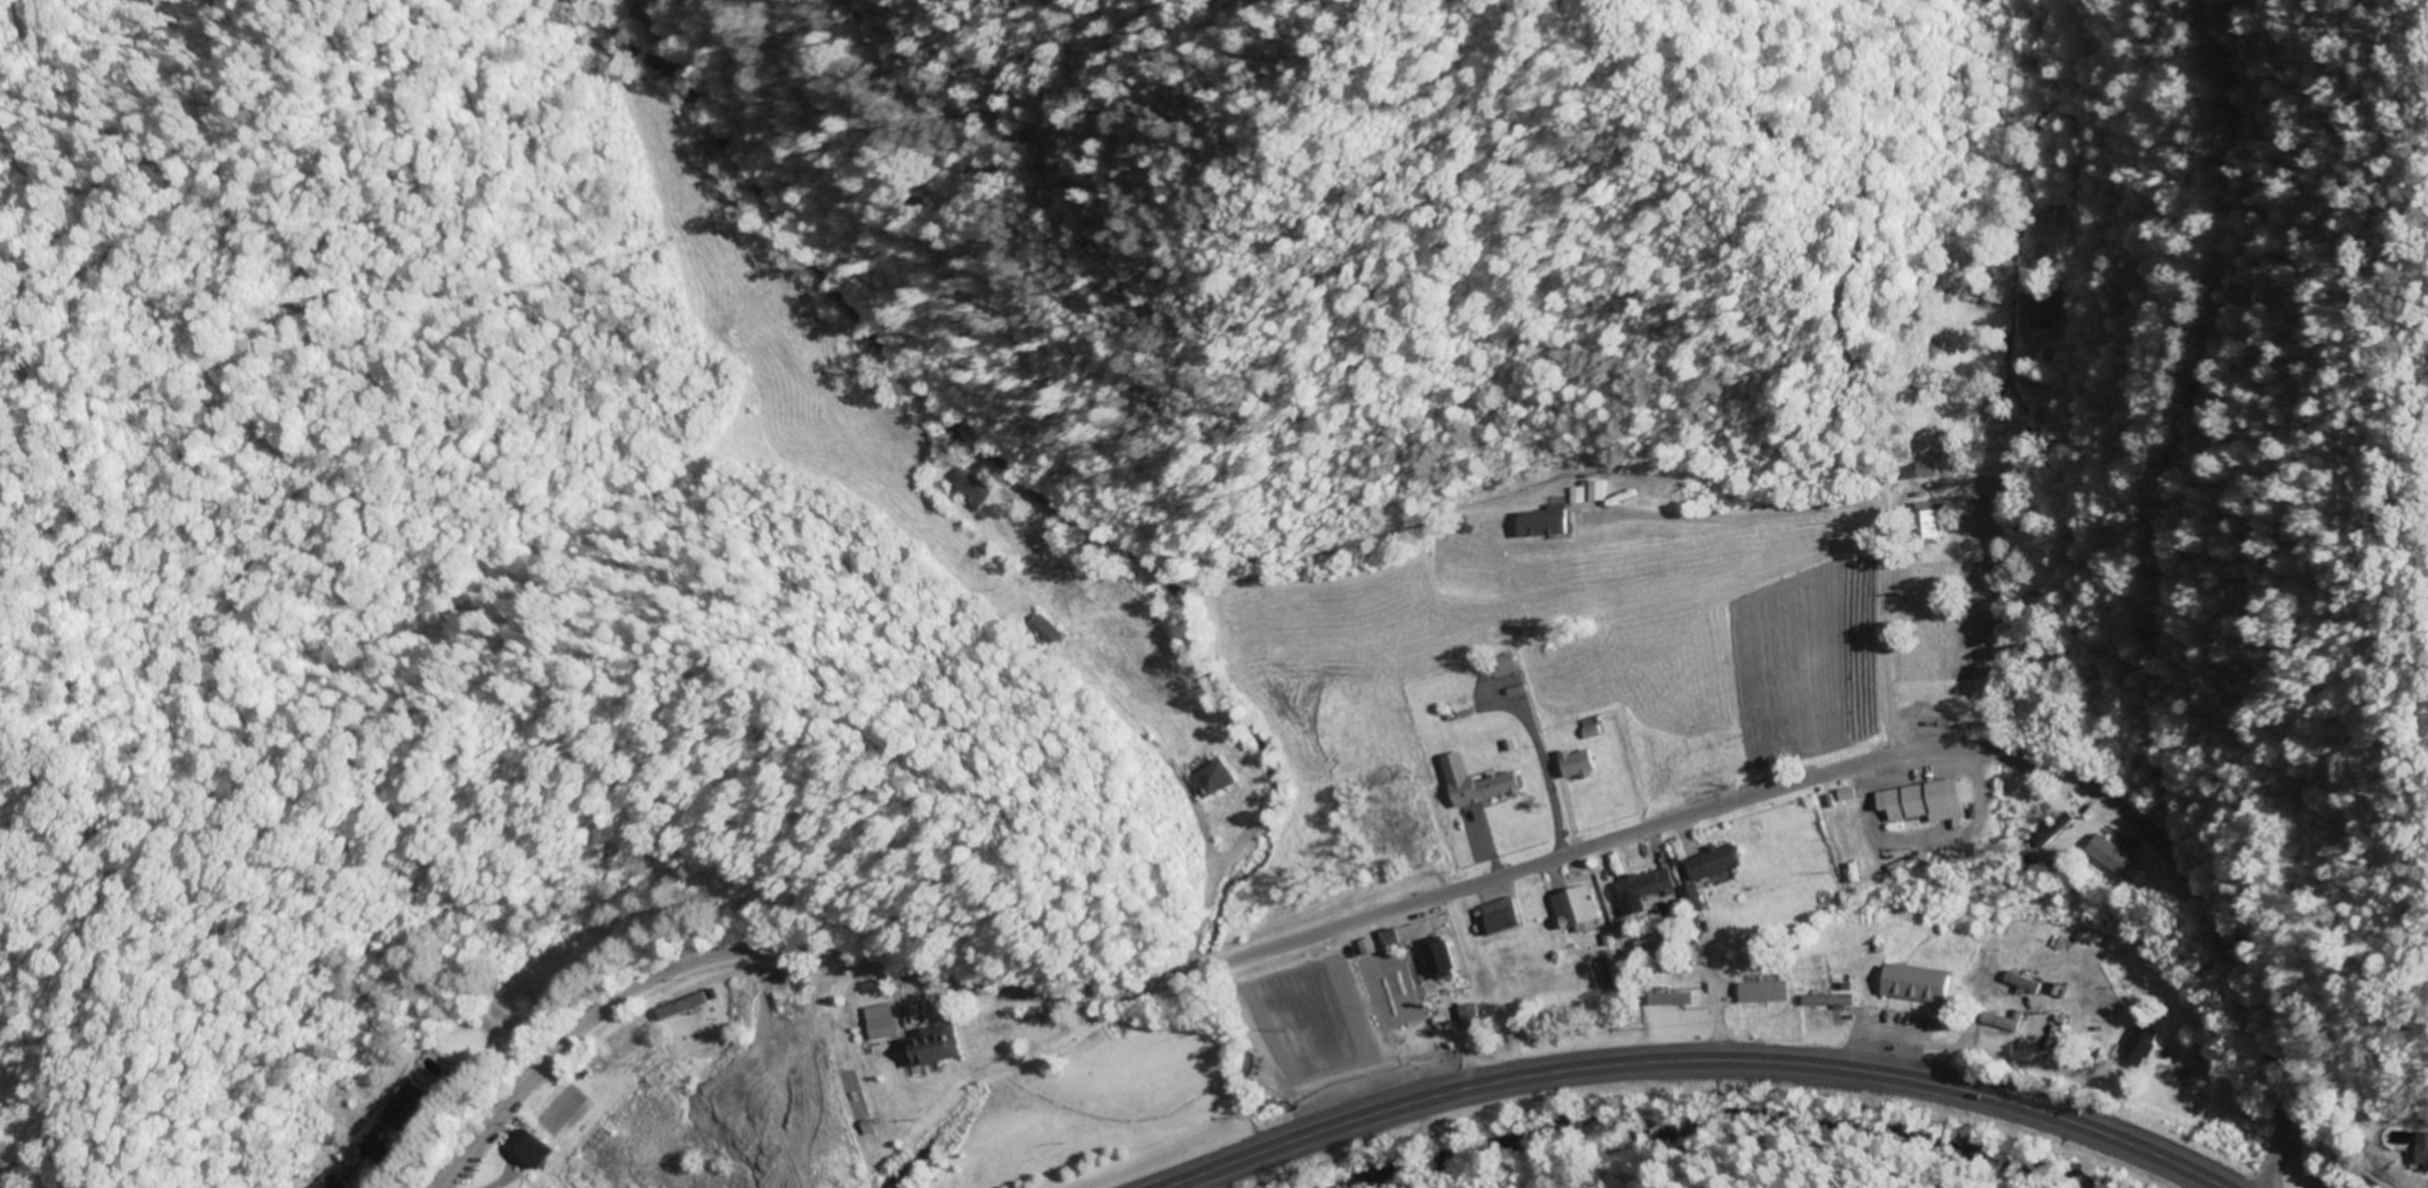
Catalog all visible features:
building: (1922, 470)
building: (1588, 493)
building: (1933, 521)
building: (1545, 524)
building: (1578, 763)
building: (1211, 780)
building: (1476, 784)
building: (1928, 802)
building: (1841, 833)
building: (2113, 856)
building: (1715, 862)
road: (1453, 886)
building: (1645, 889)
building: (1578, 910)
building: (1503, 916)
building: (1441, 958)
building: (1919, 985)
building: (1763, 991)
building: (1672, 998)
building: (676, 1007)
building: (2001, 1022)
building: (877, 1028)
road: (1991, 1044)
building: (2139, 1046)
building: (931, 1047)
road: (1697, 1064)
building: (410, 1106)
building: (2426, 1146)
building: (526, 1149)
road: (2306, 1165)

